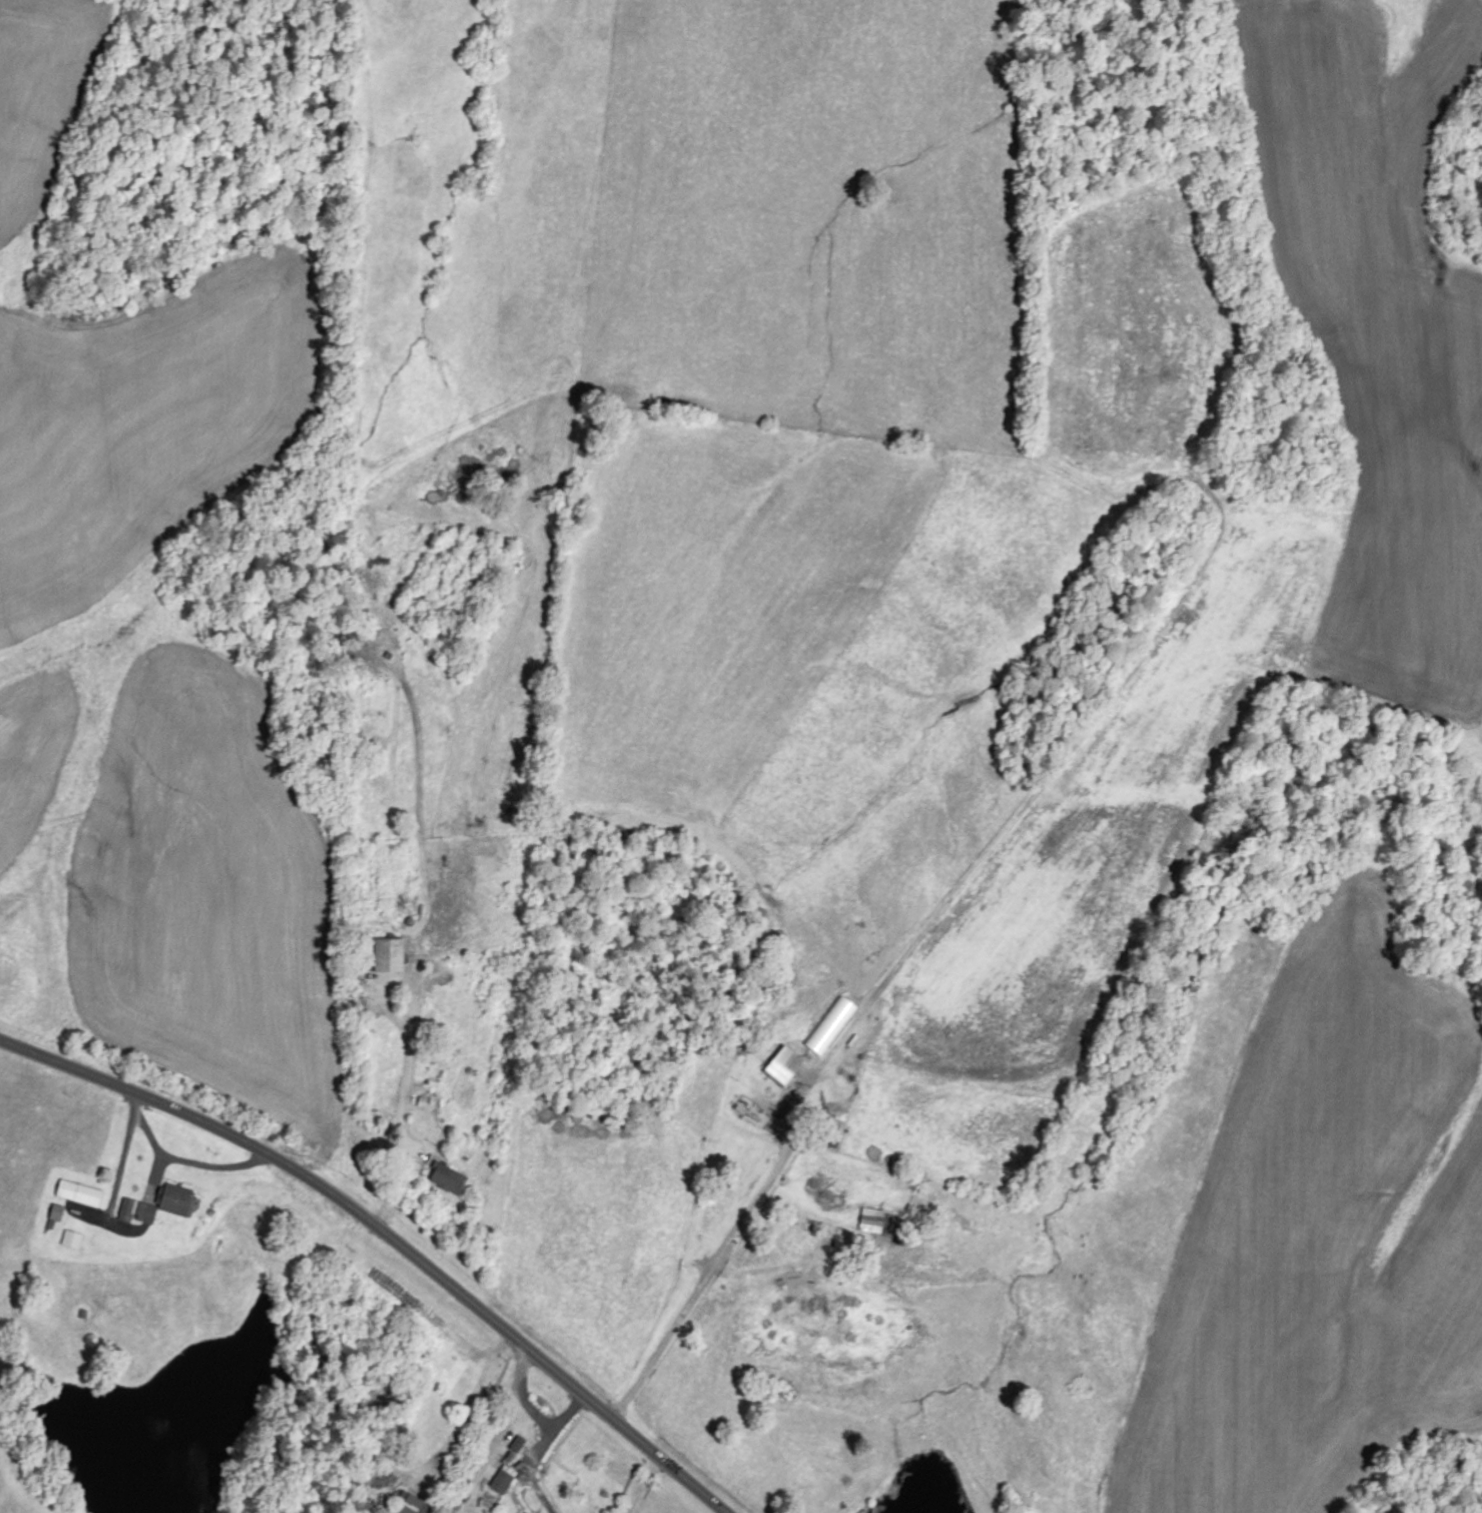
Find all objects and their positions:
building: (393, 957)
building: (787, 1068)
building: (453, 1181)
building: (82, 1194)
building: (181, 1201)
building: (140, 1212)
building: (60, 1214)
building: (874, 1221)
road: (393, 1232)
building: (74, 1240)
road: (699, 1301)
building: (505, 1482)
building: (417, 1505)

